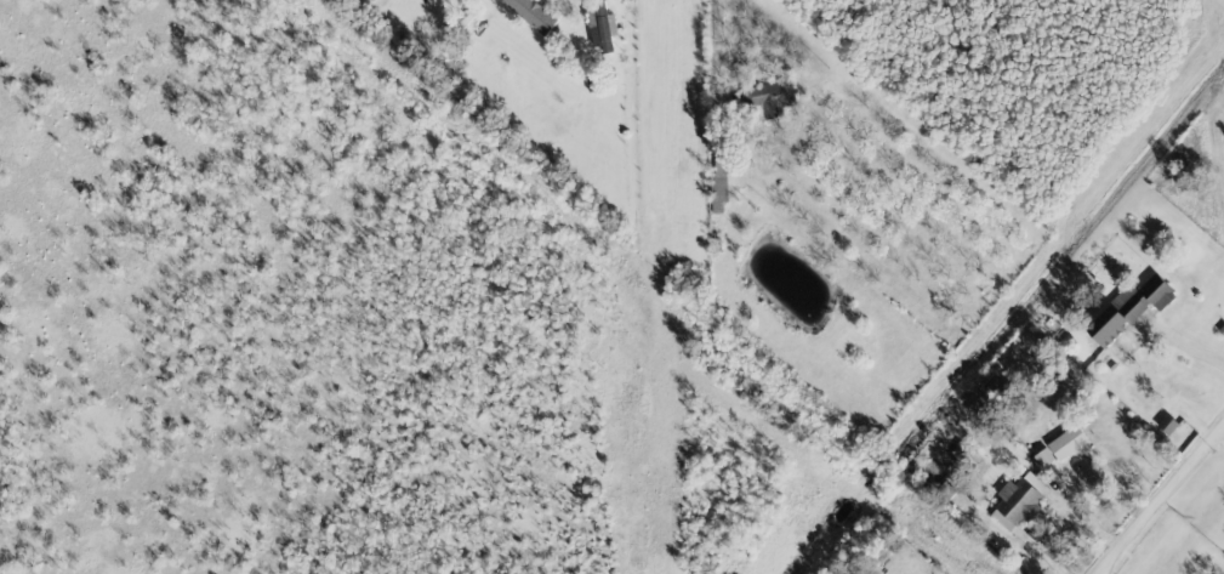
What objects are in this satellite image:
building: (531, 13)
building: (599, 25)
road: (710, 59)
building: (772, 96)
building: (718, 184)
building: (1128, 308)
road: (1191, 357)
building: (1166, 424)
building: (1060, 445)
building: (1018, 500)
road: (1168, 507)
road: (1059, 513)

